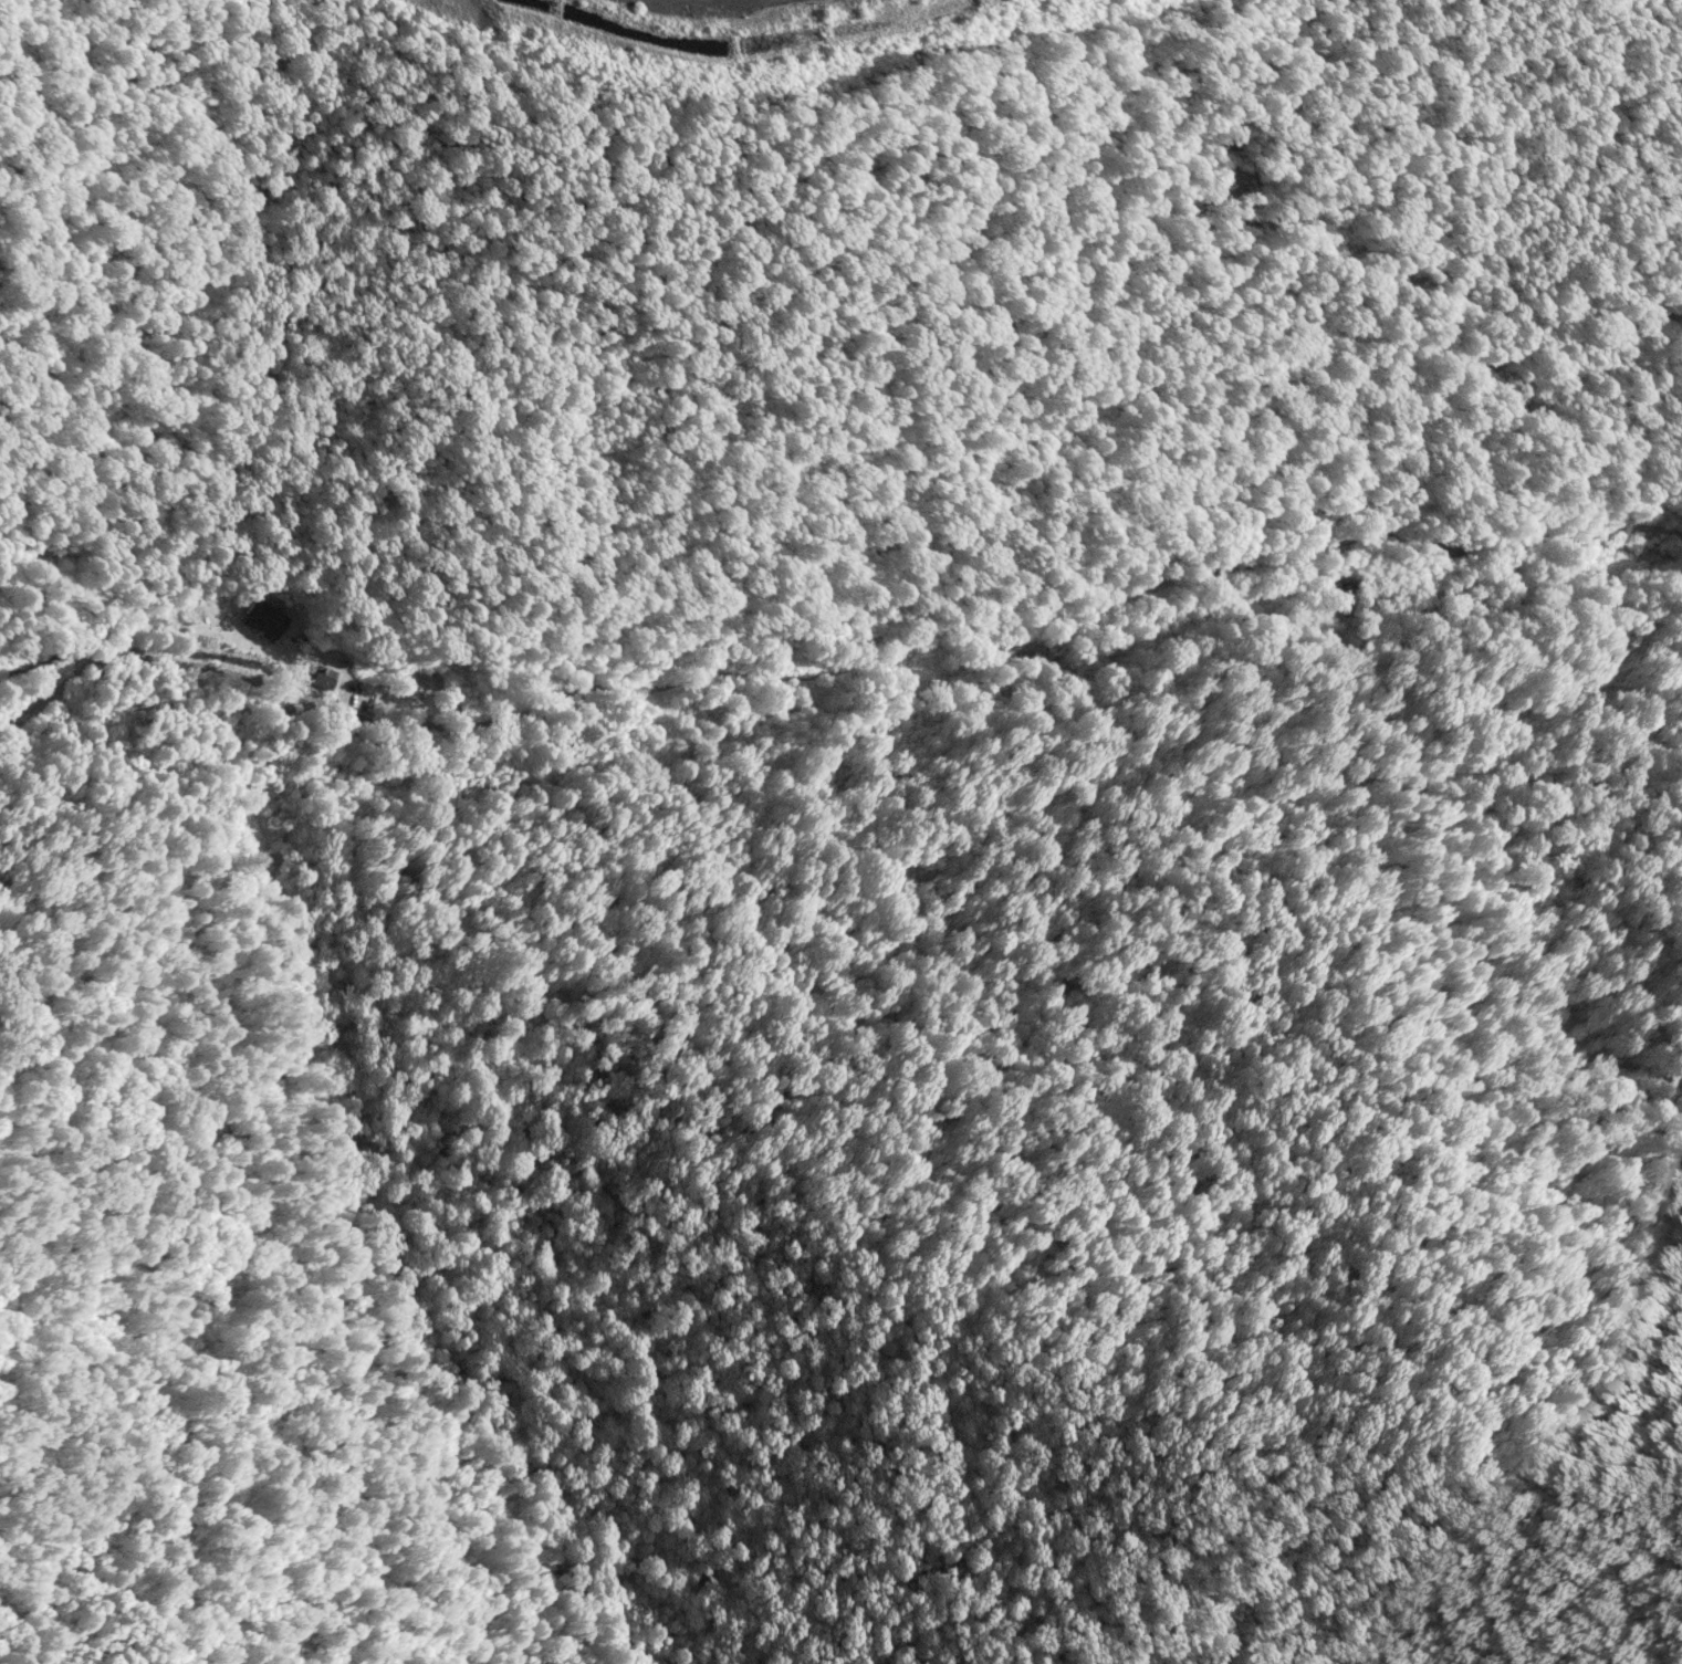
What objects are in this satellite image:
quarry: (777, 27)
building: (263, 618)
building: (323, 681)

